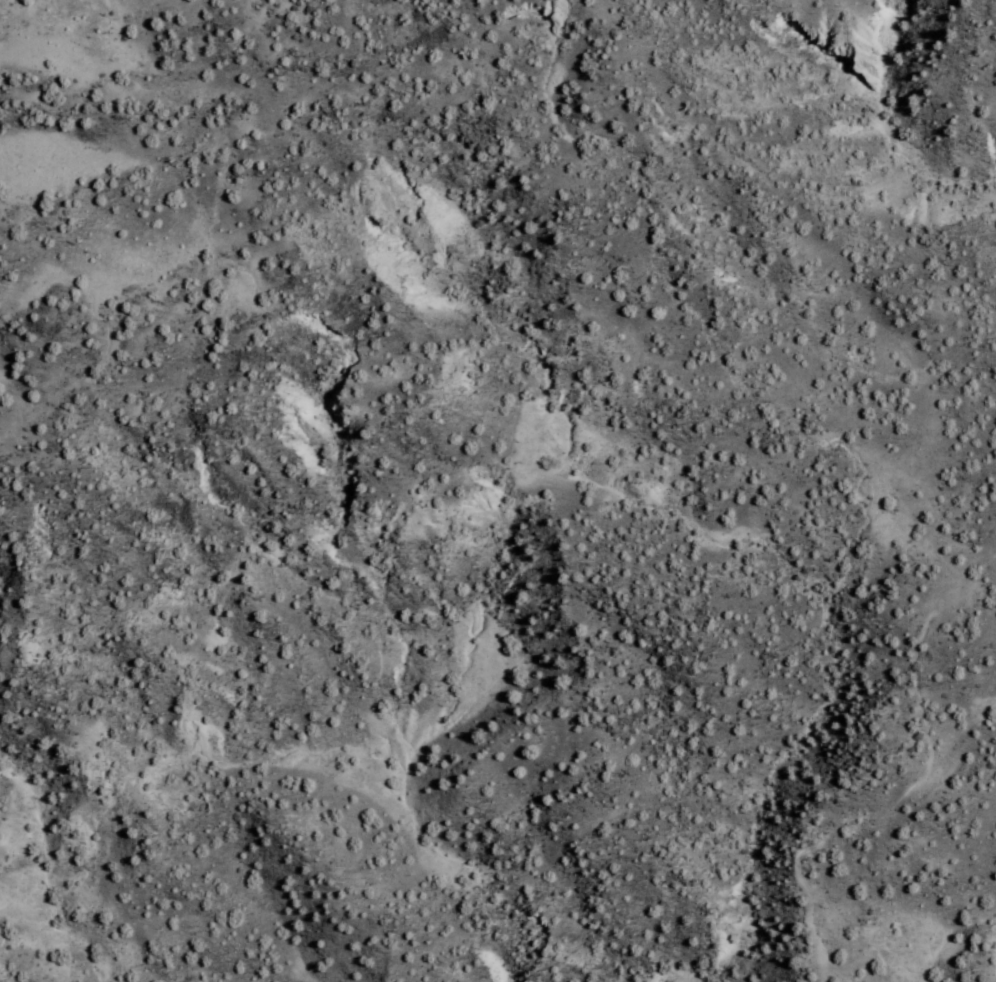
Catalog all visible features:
road: (601, 493)

